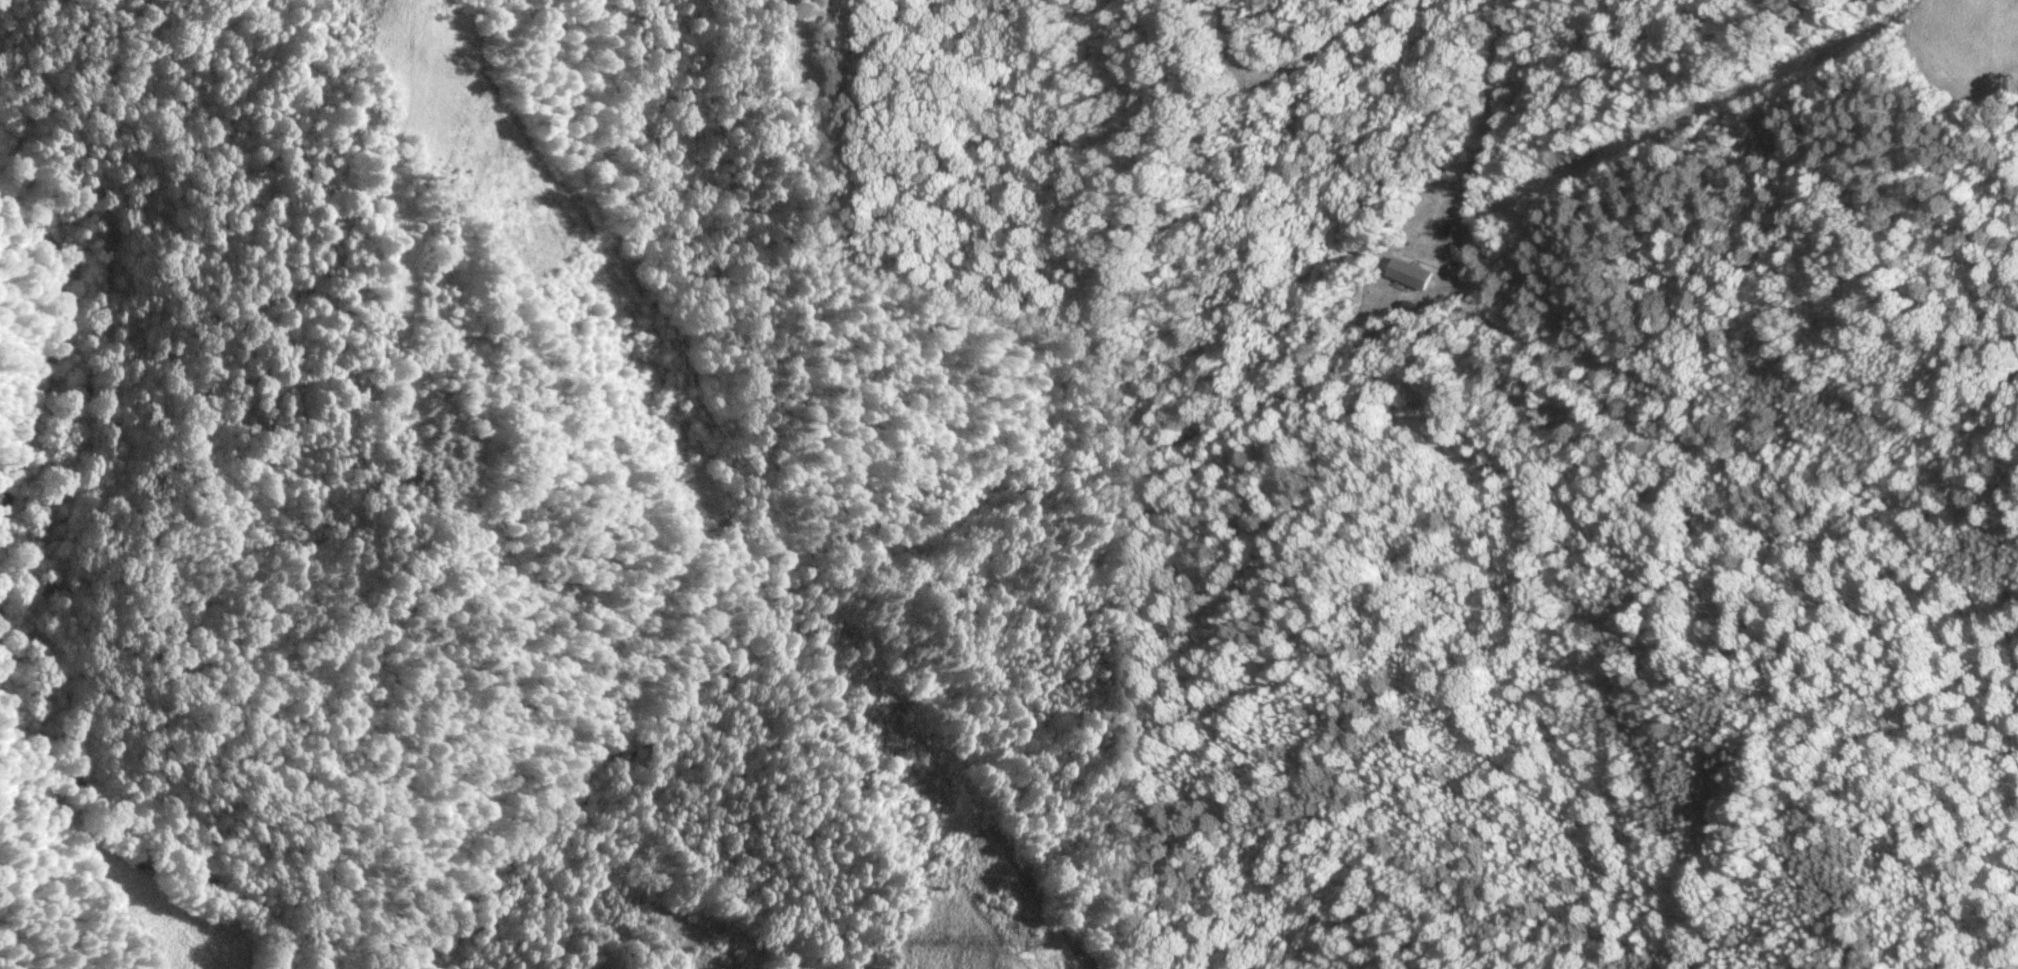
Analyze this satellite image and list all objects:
road: (1219, 8)
road: (1298, 64)
road: (1484, 136)
building: (1413, 273)

